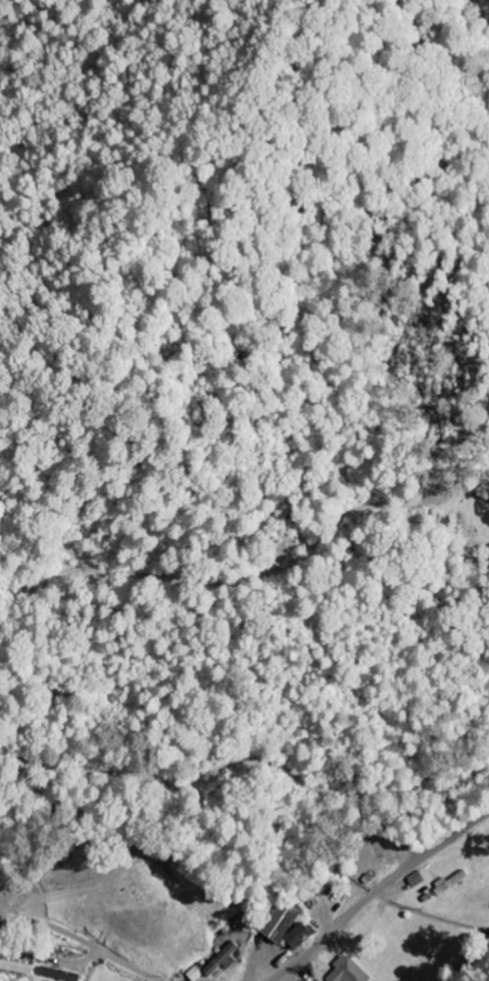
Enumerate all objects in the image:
road: (464, 27)
road: (375, 892)
building: (279, 921)
building: (297, 937)
road: (80, 940)
building: (220, 961)
building: (16, 967)
building: (345, 971)
building: (193, 974)
building: (61, 976)

